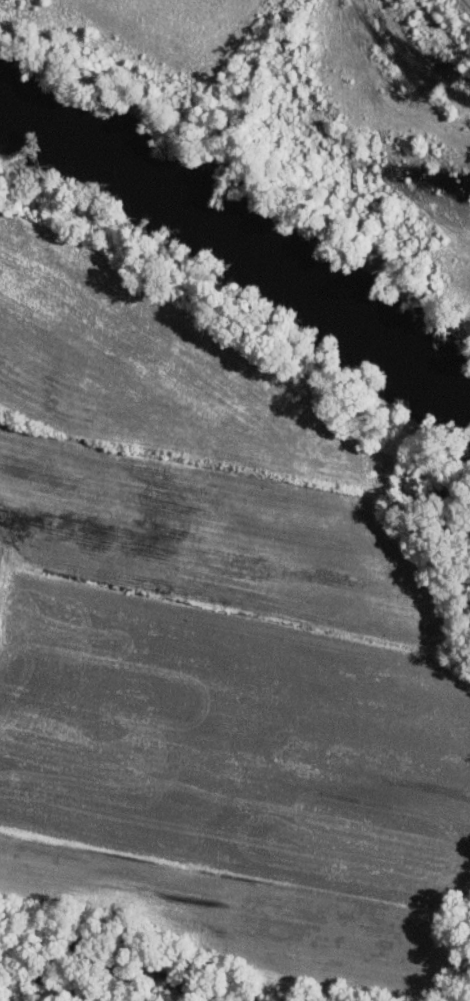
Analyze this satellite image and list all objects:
river: (243, 231)

